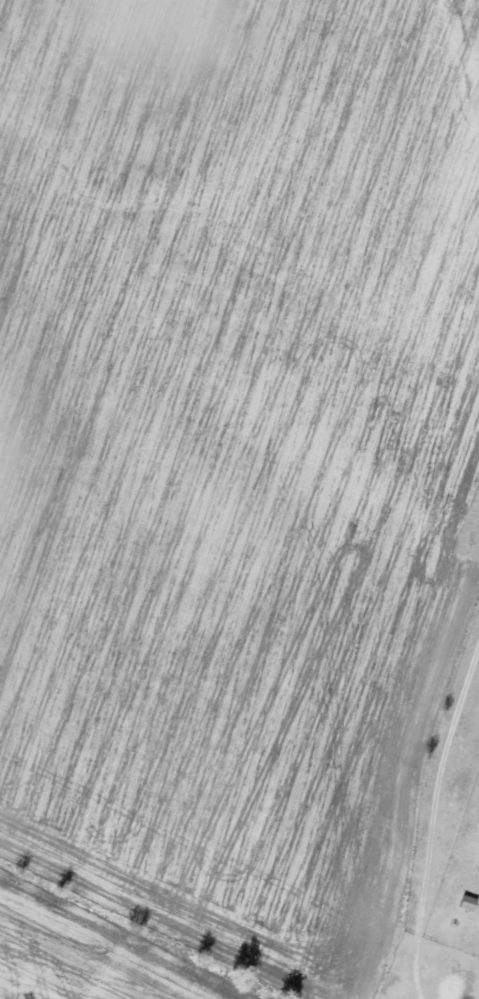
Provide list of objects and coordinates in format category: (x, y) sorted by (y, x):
road: (461, 892)
building: (469, 902)

